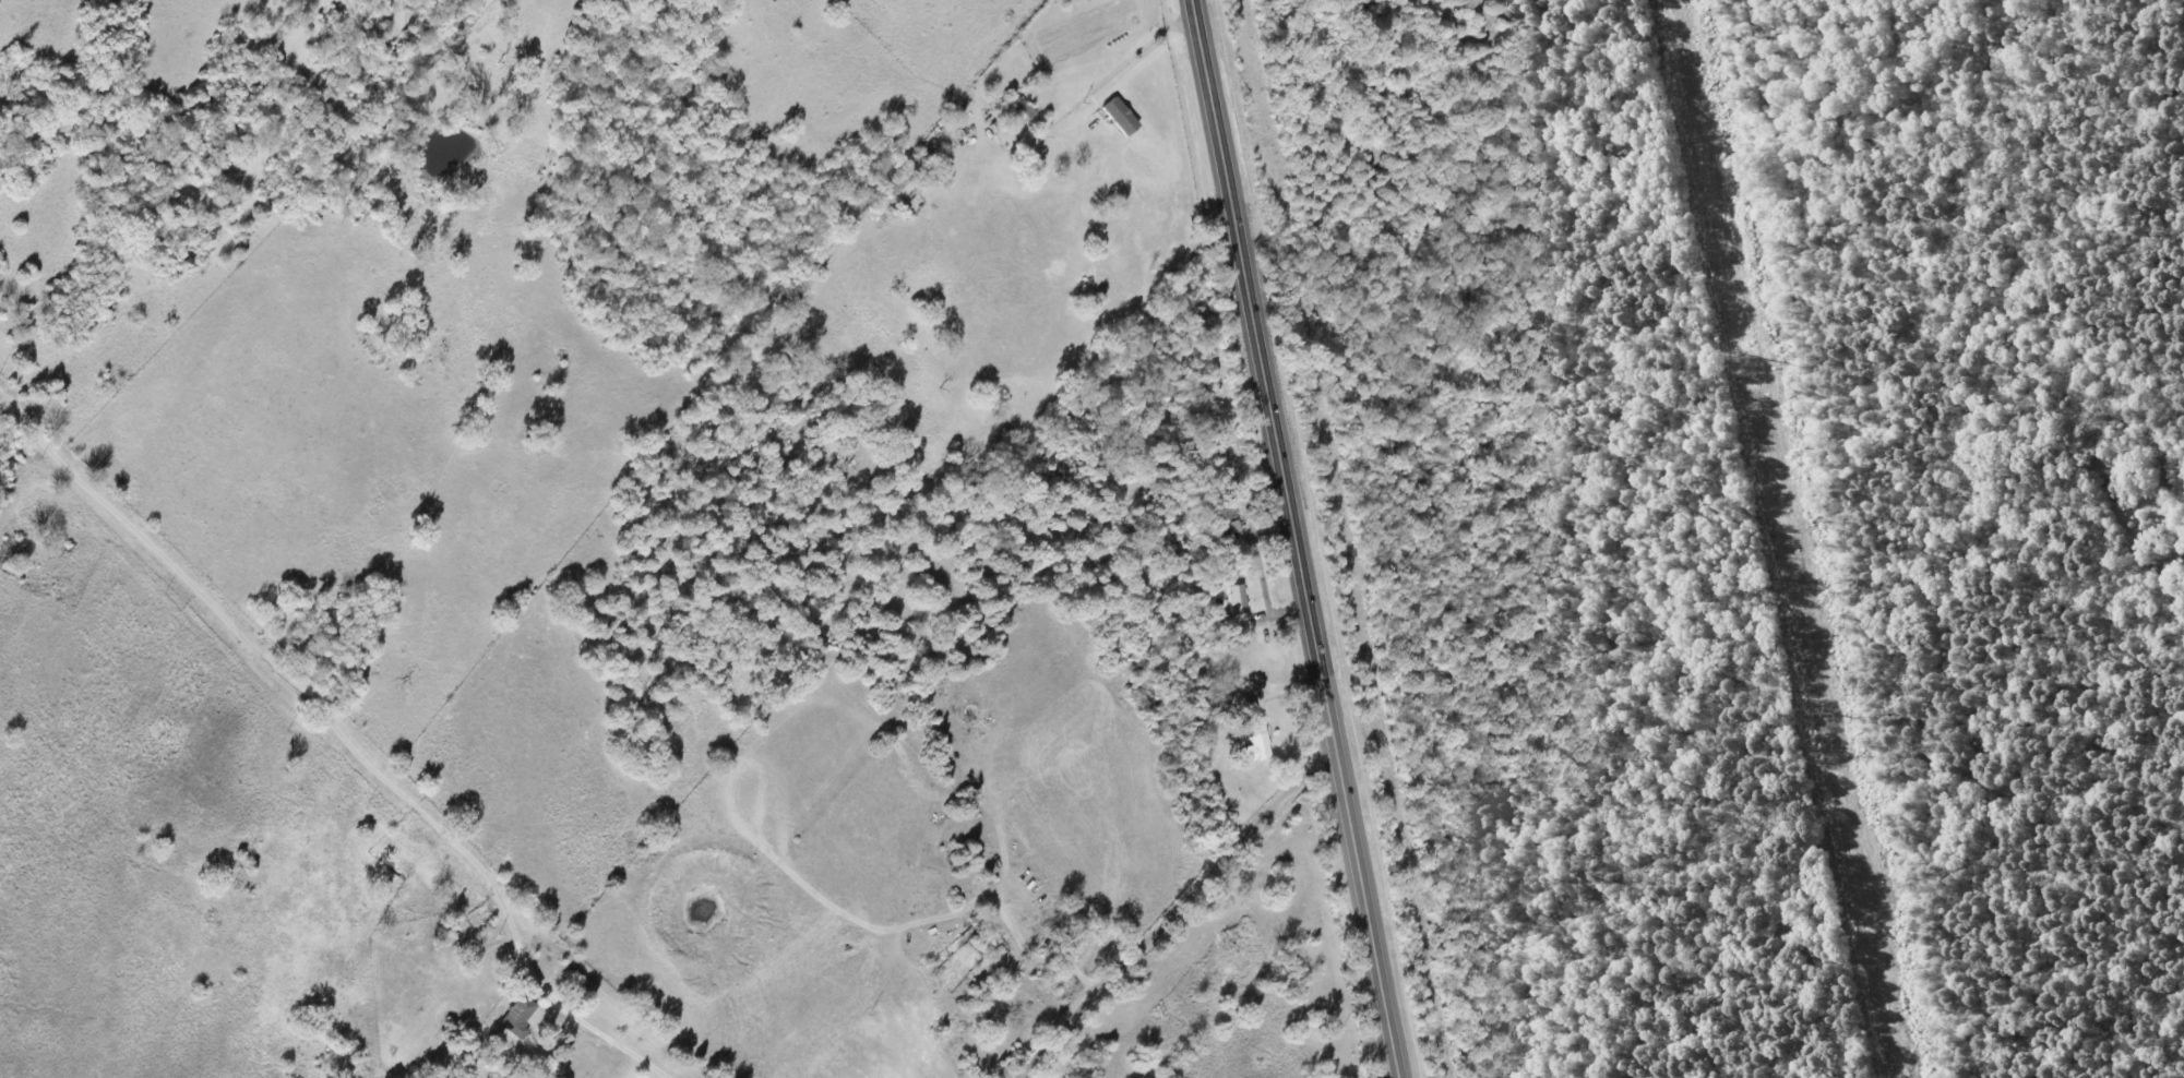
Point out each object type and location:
road: (1109, 67)
building: (1120, 117)
power tower: (1753, 357)
road: (1296, 539)
building: (1238, 607)
power tower: (1828, 712)
road: (343, 736)
building: (1255, 741)
road: (1178, 913)
building: (517, 1017)

